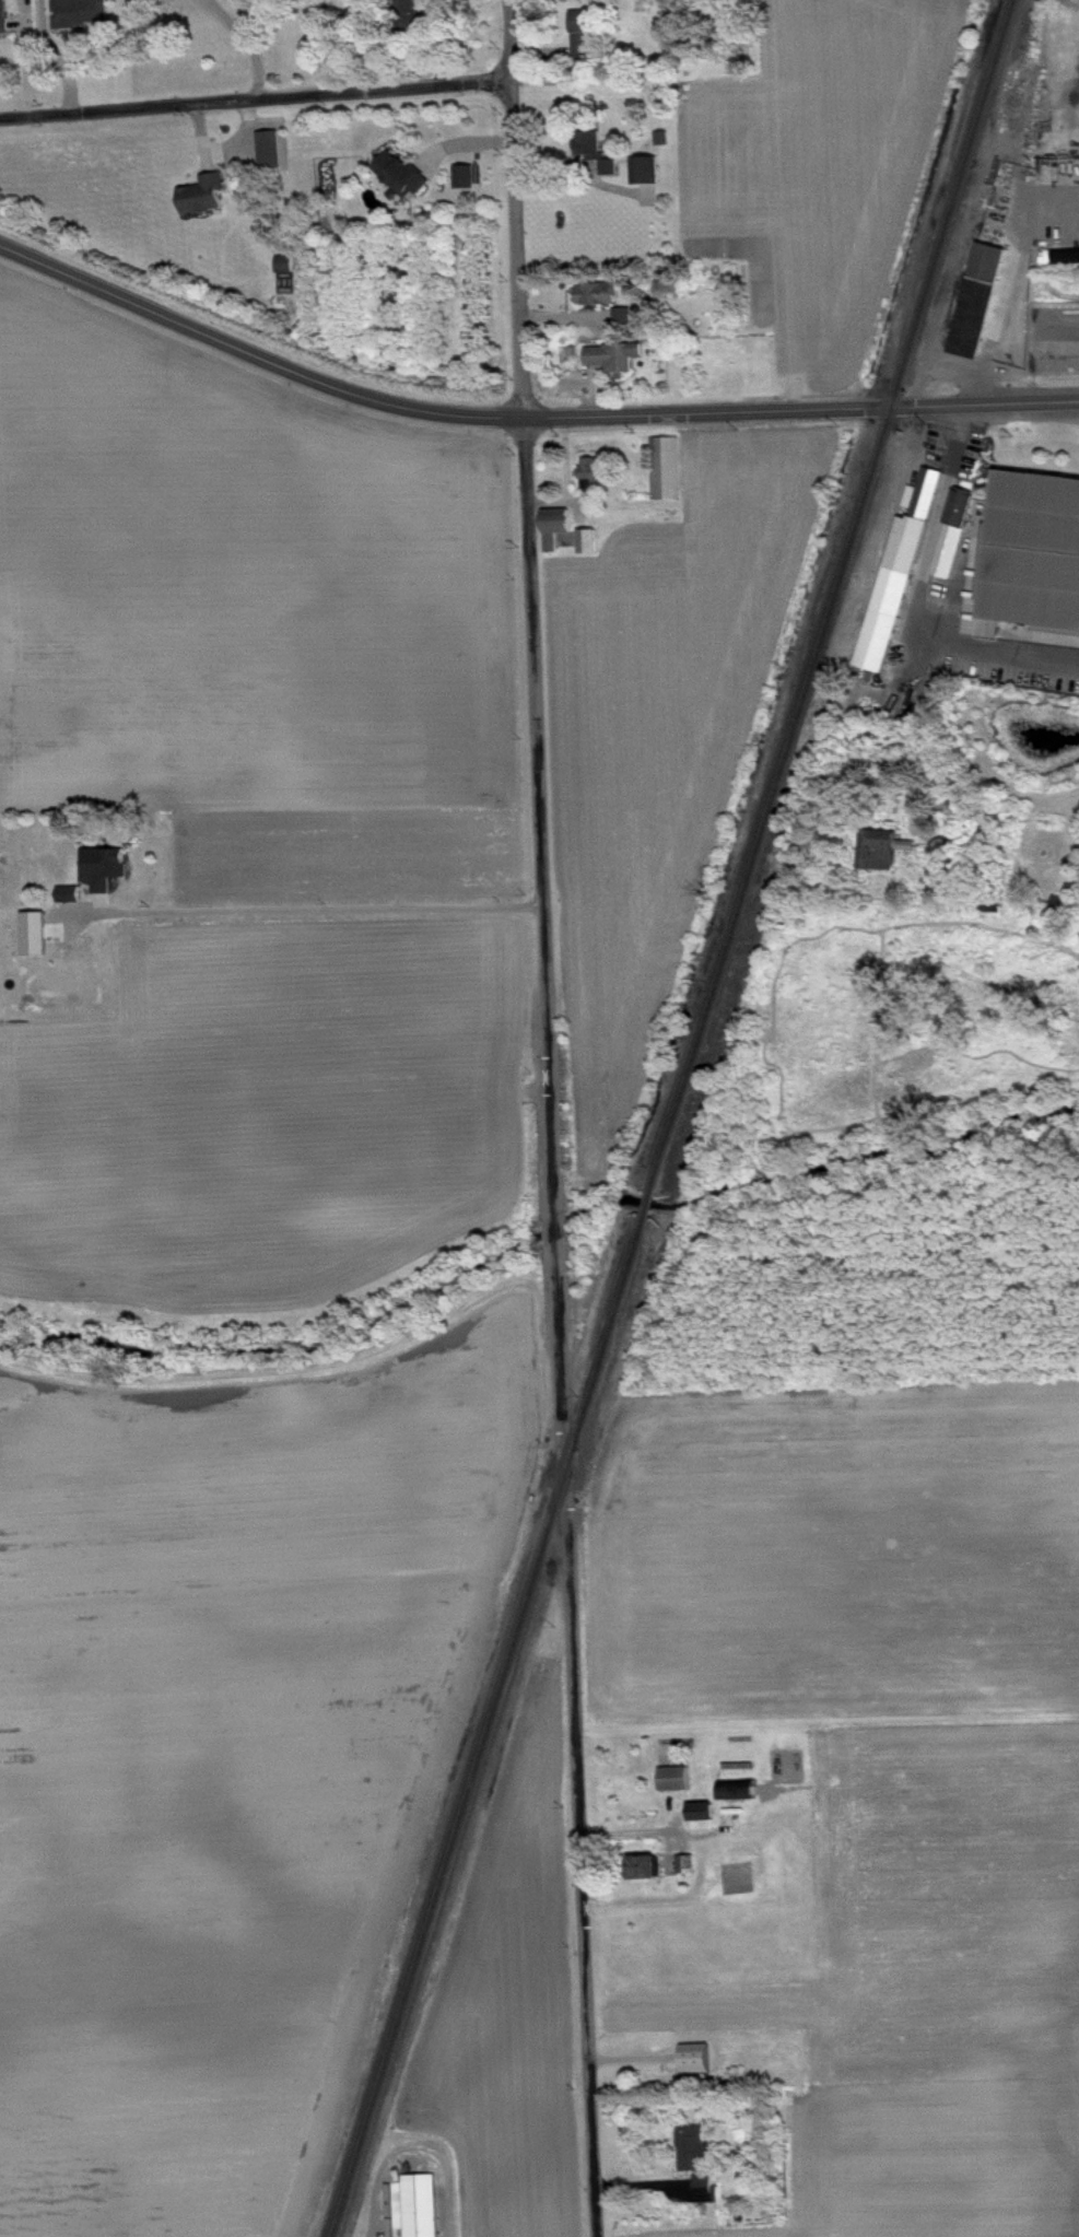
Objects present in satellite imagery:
building: (84, 15)
building: (413, 15)
building: (5, 20)
building: (589, 42)
road: (244, 43)
road: (256, 95)
building: (274, 154)
building: (601, 155)
building: (650, 176)
building: (407, 179)
building: (469, 181)
building: (208, 200)
building: (290, 269)
building: (672, 292)
building: (602, 298)
building: (984, 305)
building: (628, 320)
building: (619, 362)
road: (524, 415)
building: (672, 473)
building: (599, 479)
building: (561, 531)
building: (959, 538)
building: (594, 546)
building: (1033, 559)
railway: (832, 597)
road: (922, 599)
road: (531, 604)
road: (1022, 795)
building: (108, 872)
building: (74, 899)
road: (317, 906)
building: (39, 938)
railway: (647, 1205)
road: (558, 1226)
railway: (488, 1725)
road: (576, 1740)
building: (679, 1784)
building: (740, 1796)
building: (706, 1817)
road: (636, 1830)
building: (691, 1870)
building: (647, 1873)
road: (414, 2148)
building: (699, 2154)
building: (712, 2195)
building: (426, 2209)

